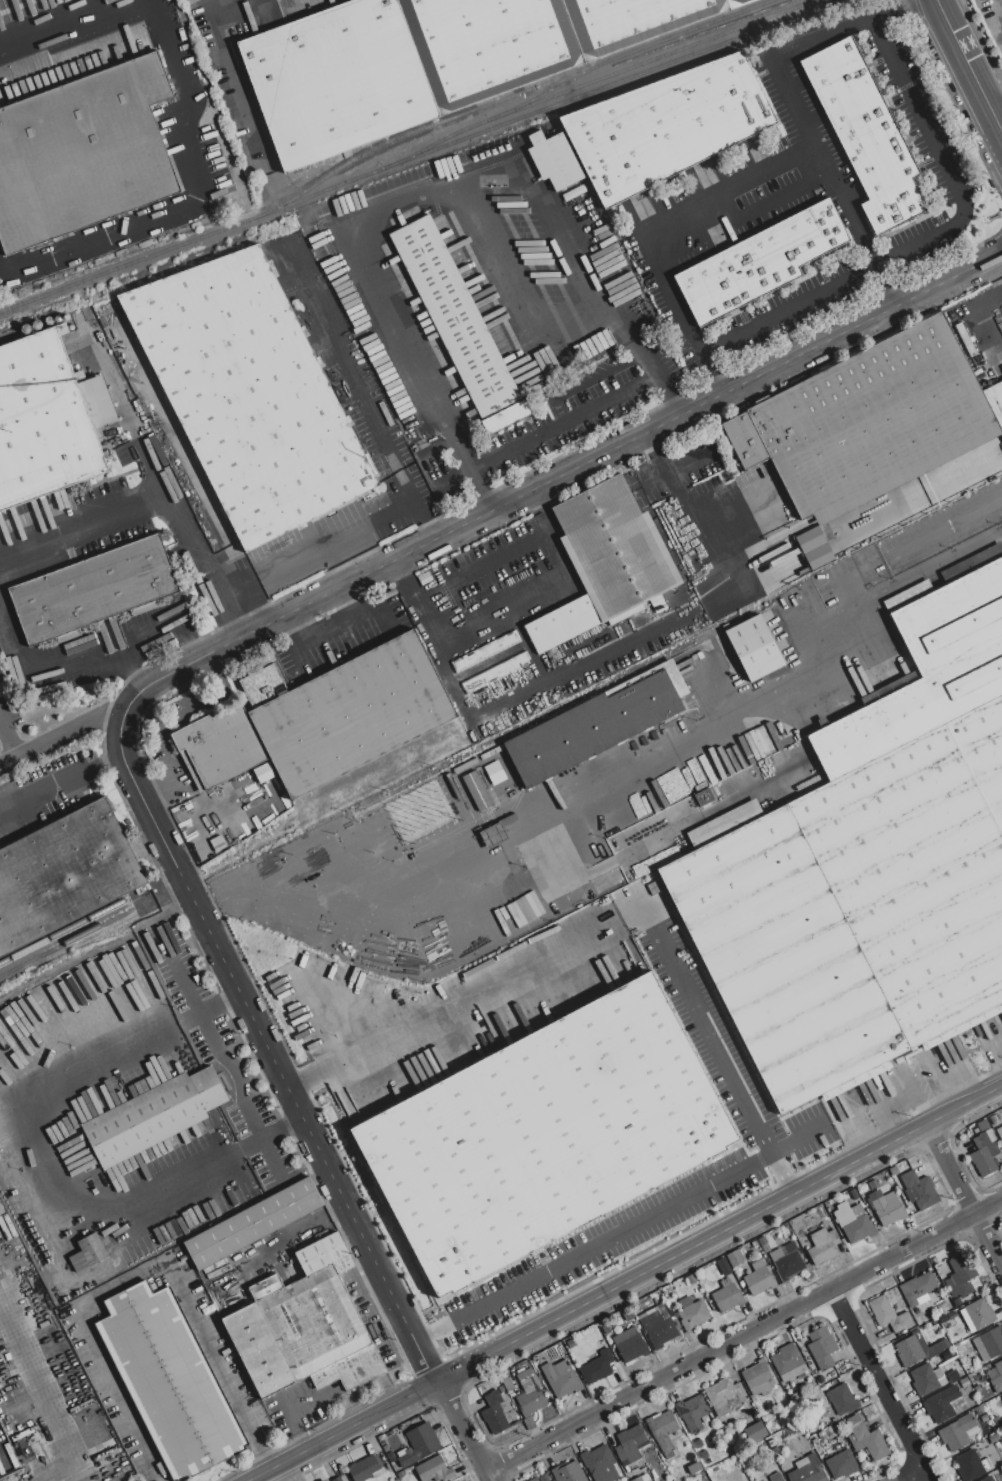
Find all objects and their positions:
road: (940, 2)
road: (57, 20)
road: (840, 28)
road: (224, 58)
railway: (654, 58)
building: (428, 60)
road: (968, 69)
railway: (582, 73)
road: (993, 97)
building: (666, 126)
road: (1000, 129)
building: (865, 135)
railway: (402, 138)
building: (83, 153)
railway: (422, 155)
building: (555, 160)
road: (836, 186)
road: (197, 195)
road: (393, 201)
road: (765, 204)
road: (656, 218)
road: (929, 235)
building: (759, 263)
road: (521, 293)
road: (986, 306)
building: (458, 324)
road: (614, 367)
road: (716, 382)
building: (246, 395)
road: (671, 401)
building: (46, 420)
building: (870, 421)
road: (566, 422)
road: (650, 440)
road: (673, 468)
road: (556, 476)
road: (485, 490)
road: (733, 510)
road: (691, 517)
road: (548, 536)
road: (311, 551)
building: (606, 562)
road: (489, 566)
building: (94, 593)
road: (381, 612)
road: (339, 620)
road: (460, 633)
road: (800, 636)
road: (288, 648)
building: (754, 648)
building: (490, 662)
building: (928, 665)
road: (553, 668)
road: (100, 670)
road: (737, 700)
building: (320, 719)
building: (597, 724)
road: (50, 741)
road: (9, 761)
building: (263, 772)
building: (495, 773)
road: (61, 780)
building: (477, 792)
building: (704, 797)
building: (493, 836)
building: (64, 873)
road: (319, 884)
building: (626, 896)
building: (855, 907)
railway: (63, 931)
road: (606, 932)
railway: (65, 946)
road: (188, 994)
road: (269, 1051)
building: (874, 1088)
road: (995, 1088)
road: (238, 1098)
road: (957, 1107)
building: (153, 1116)
building: (993, 1119)
building: (982, 1125)
road: (280, 1128)
building: (999, 1132)
road: (931, 1133)
building: (543, 1135)
road: (794, 1140)
building: (985, 1153)
road: (40, 1167)
road: (949, 1170)
building: (892, 1171)
building: (852, 1190)
building: (918, 1190)
building: (890, 1210)
building: (1, 1211)
building: (853, 1222)
building: (253, 1224)
road: (982, 1233)
building: (762, 1241)
building: (754, 1244)
road: (591, 1245)
building: (822, 1246)
road: (680, 1252)
building: (88, 1253)
building: (733, 1259)
building: (787, 1263)
building: (962, 1274)
road: (136, 1276)
building: (690, 1278)
building: (758, 1278)
building: (917, 1288)
building: (727, 1296)
building: (628, 1314)
building: (692, 1314)
building: (979, 1314)
building: (889, 1315)
building: (658, 1326)
building: (305, 1327)
building: (605, 1328)
road: (743, 1336)
building: (992, 1341)
building: (570, 1343)
building: (630, 1345)
building: (821, 1347)
building: (918, 1349)
building: (786, 1359)
building: (812, 1362)
building: (596, 1366)
building: (953, 1376)
building: (561, 1378)
building: (758, 1378)
building: (997, 1378)
building: (927, 1379)
building: (170, 1381)
building: (506, 1382)
building: (964, 1382)
road: (880, 1385)
building: (977, 1388)
building: (529, 1393)
building: (1001, 1395)
building: (724, 1396)
building: (842, 1400)
building: (942, 1403)
building: (979, 1409)
road: (288, 1410)
building: (495, 1412)
building: (692, 1412)
building: (983, 1417)
building: (997, 1422)
building: (529, 1423)
road: (340, 1431)
road: (462, 1431)
building: (663, 1431)
building: (755, 1432)
building: (828, 1432)
building: (957, 1432)
building: (822, 1436)
building: (814, 1438)
building: (866, 1439)
road: (301, 1443)
building: (629, 1443)
building: (697, 1443)
building: (772, 1443)
building: (418, 1445)
building: (775, 1450)
building: (703, 1454)
building: (596, 1459)
building: (394, 1463)
building: (842, 1464)
building: (971, 1465)
building: (694, 1468)
building: (366, 1469)
road: (293, 1470)
building: (434, 1470)
building: (808, 1470)
building: (568, 1472)
road: (910, 1474)
building: (401, 1475)
building: (601, 1476)
building: (543, 1478)
building: (642, 1478)
building: (775, 1478)
building: (336, 1479)
building: (396, 1479)
building: (987, 1479)
building: (534, 1480)
building: (661, 1480)

